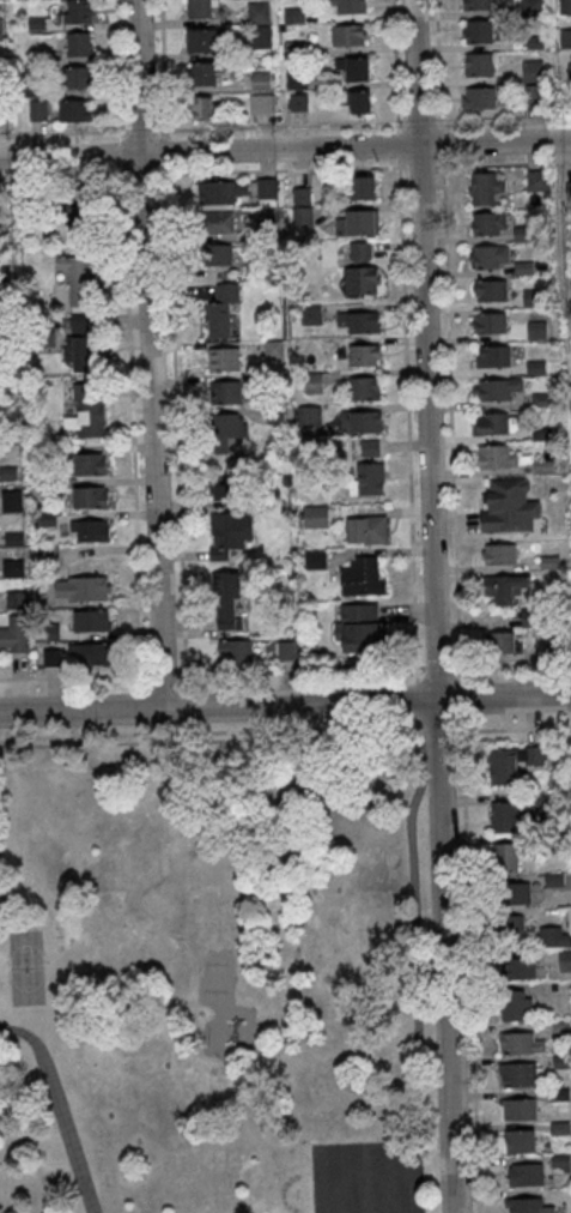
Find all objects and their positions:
building: (478, 4)
building: (346, 6)
building: (565, 6)
building: (531, 7)
building: (202, 8)
building: (78, 11)
building: (292, 14)
building: (259, 23)
building: (1, 29)
building: (479, 31)
building: (348, 35)
building: (565, 37)
building: (205, 40)
building: (78, 43)
building: (479, 64)
building: (352, 68)
building: (533, 70)
building: (204, 73)
building: (77, 76)
building: (260, 80)
building: (479, 96)
building: (359, 101)
building: (298, 102)
building: (261, 103)
building: (204, 108)
building: (37, 109)
building: (74, 109)
road: (285, 126)
road: (285, 149)
road: (285, 169)
building: (537, 179)
building: (267, 187)
building: (363, 187)
building: (485, 187)
building: (220, 191)
building: (569, 191)
building: (302, 194)
building: (302, 216)
building: (81, 217)
building: (357, 221)
building: (218, 222)
building: (488, 223)
building: (1, 234)
building: (359, 251)
building: (488, 255)
building: (218, 257)
building: (77, 278)
building: (364, 279)
building: (490, 289)
building: (530, 297)
building: (311, 314)
building: (220, 316)
building: (360, 321)
building: (81, 322)
building: (490, 322)
building: (537, 330)
road: (405, 332)
road: (449, 332)
building: (86, 352)
road: (148, 352)
building: (364, 354)
building: (492, 355)
building: (224, 358)
building: (312, 382)
building: (365, 387)
building: (494, 388)
building: (225, 391)
building: (85, 412)
building: (308, 415)
building: (360, 421)
building: (493, 423)
building: (227, 433)
building: (498, 455)
building: (89, 463)
building: (369, 478)
building: (229, 483)
building: (90, 496)
building: (12, 500)
building: (509, 506)
building: (316, 515)
building: (48, 518)
building: (90, 527)
building: (366, 529)
building: (231, 532)
building: (47, 553)
building: (498, 553)
building: (315, 559)
building: (12, 568)
building: (363, 575)
building: (80, 587)
building: (503, 587)
building: (16, 598)
building: (229, 602)
road: (433, 606)
building: (90, 620)
building: (362, 627)
building: (13, 640)
building: (500, 642)
building: (233, 652)
building: (89, 653)
road: (511, 663)
road: (438, 665)
road: (300, 669)
road: (460, 671)
road: (164, 674)
road: (417, 674)
road: (75, 675)
road: (418, 698)
road: (461, 698)
road: (285, 702)
road: (510, 729)
road: (439, 731)
road: (212, 732)
building: (511, 761)
building: (506, 816)
building: (505, 856)
building: (514, 893)
road: (1, 904)
building: (512, 929)
road: (415, 934)
building: (554, 936)
building: (564, 960)
building: (518, 967)
road: (469, 968)
park: (26, 970)
park: (214, 978)
building: (515, 1004)
building: (521, 1043)
building: (517, 1074)
road: (61, 1105)
building: (520, 1108)
building: (520, 1140)
road: (370, 1151)
building: (526, 1173)
parking lot: (365, 1177)
building: (527, 1206)

